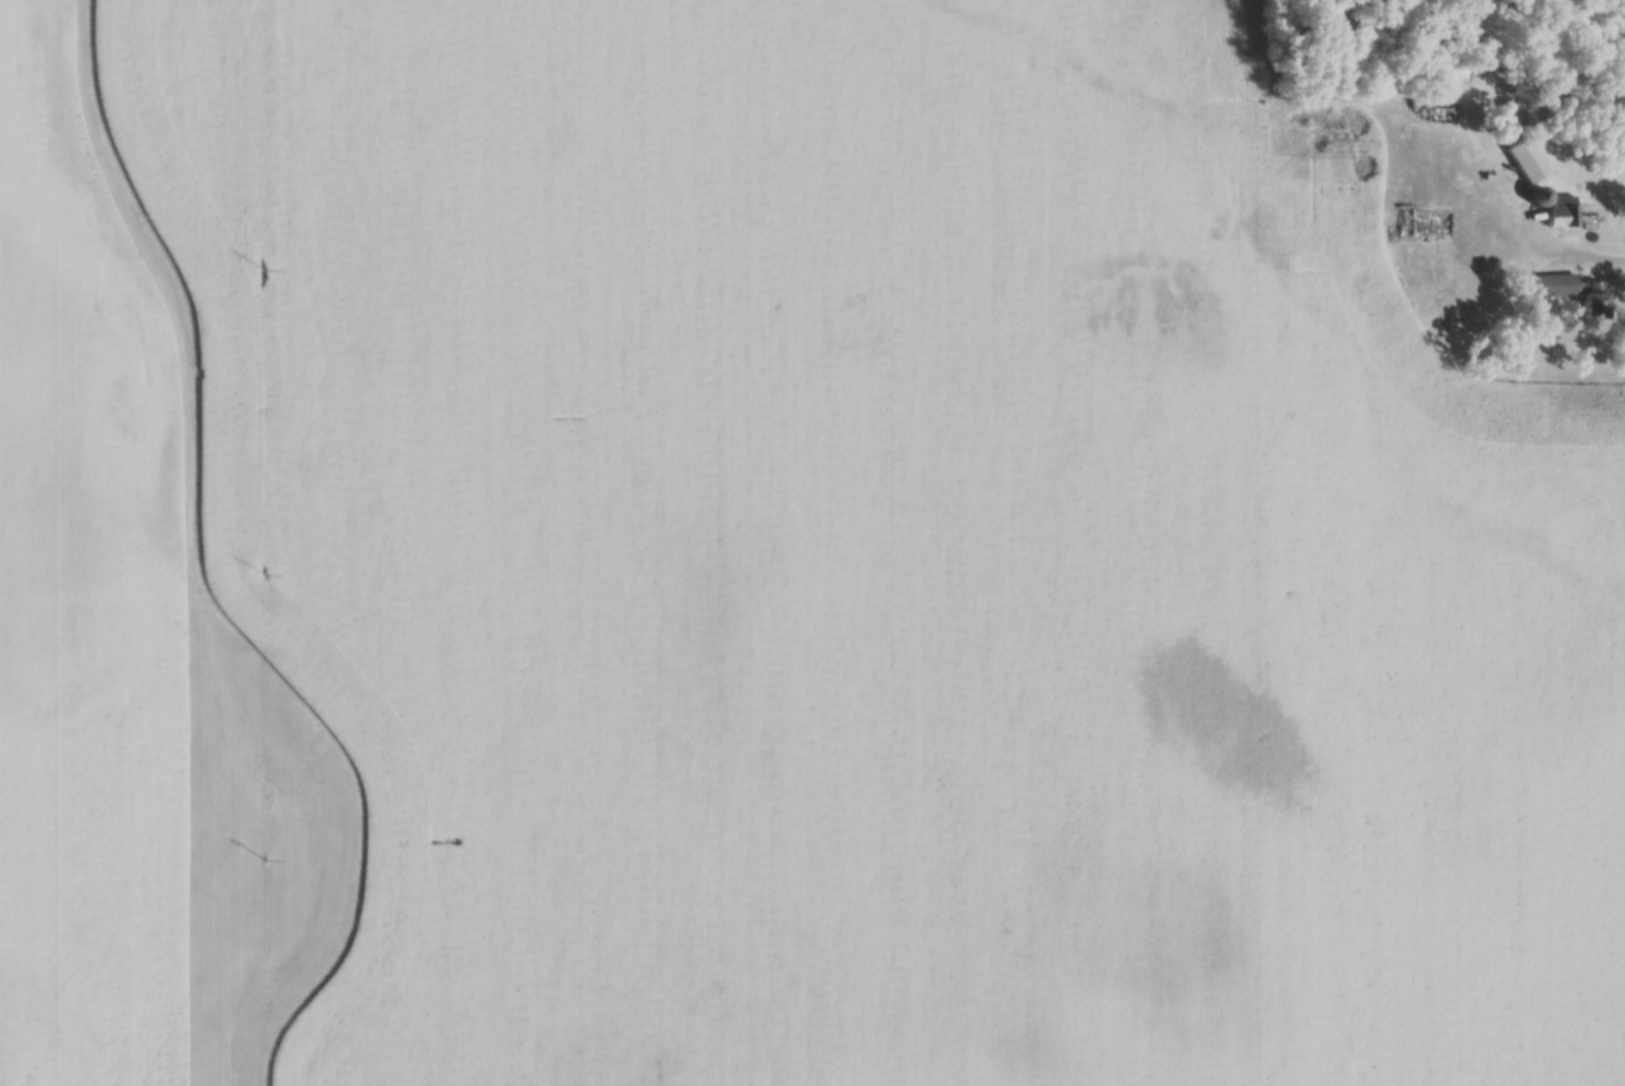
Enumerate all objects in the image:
building: (1557, 209)
building: (1339, 222)
road: (1585, 244)
building: (1576, 293)

